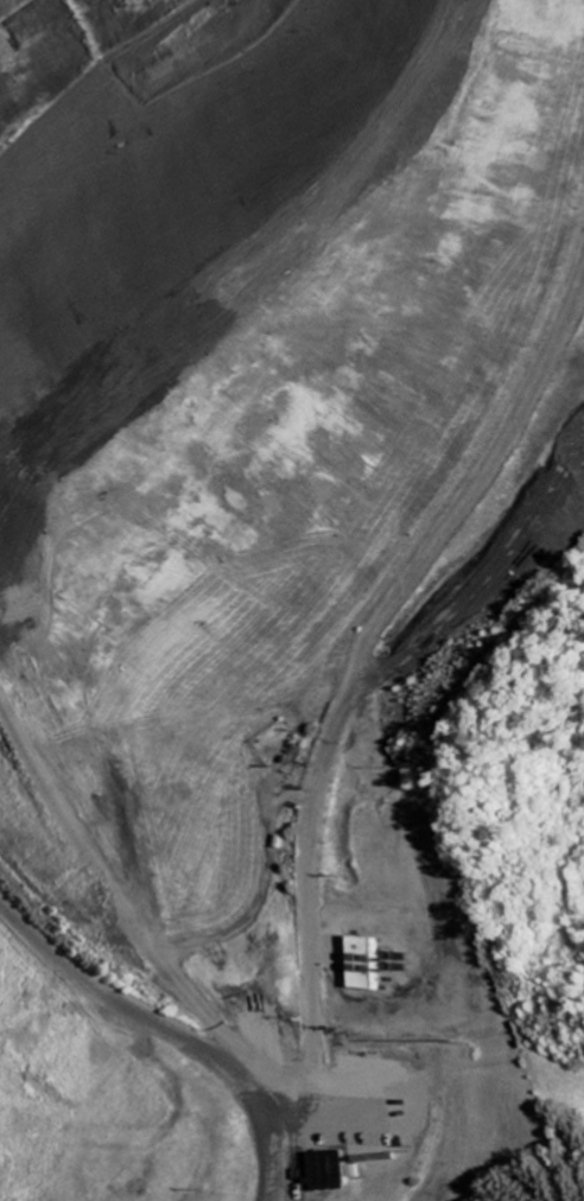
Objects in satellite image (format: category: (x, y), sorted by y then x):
road: (45, 439)
landfill: (273, 576)
road: (349, 703)
road: (99, 853)
building: (364, 965)
road: (126, 1013)
road: (259, 1155)
building: (313, 1173)

